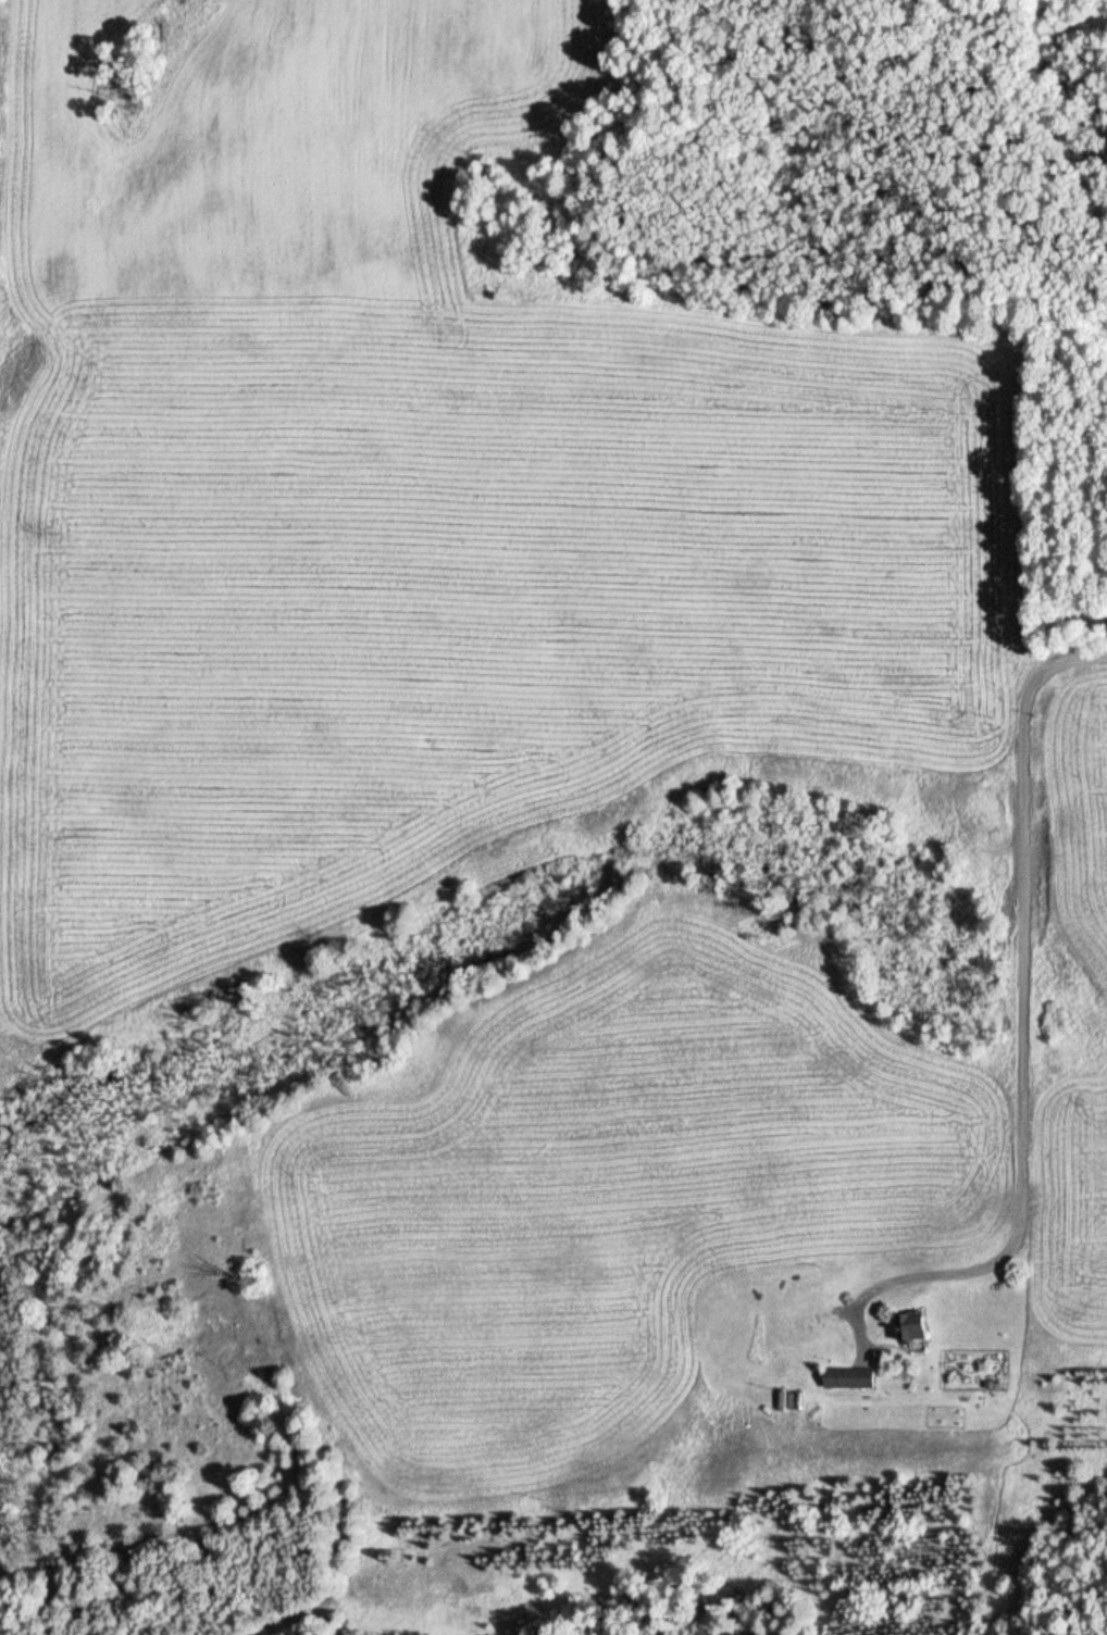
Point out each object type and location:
road: (1024, 489)
building: (1102, 616)
road: (1081, 661)
road: (1030, 1064)
building: (920, 1321)
building: (892, 1353)
building: (858, 1376)

